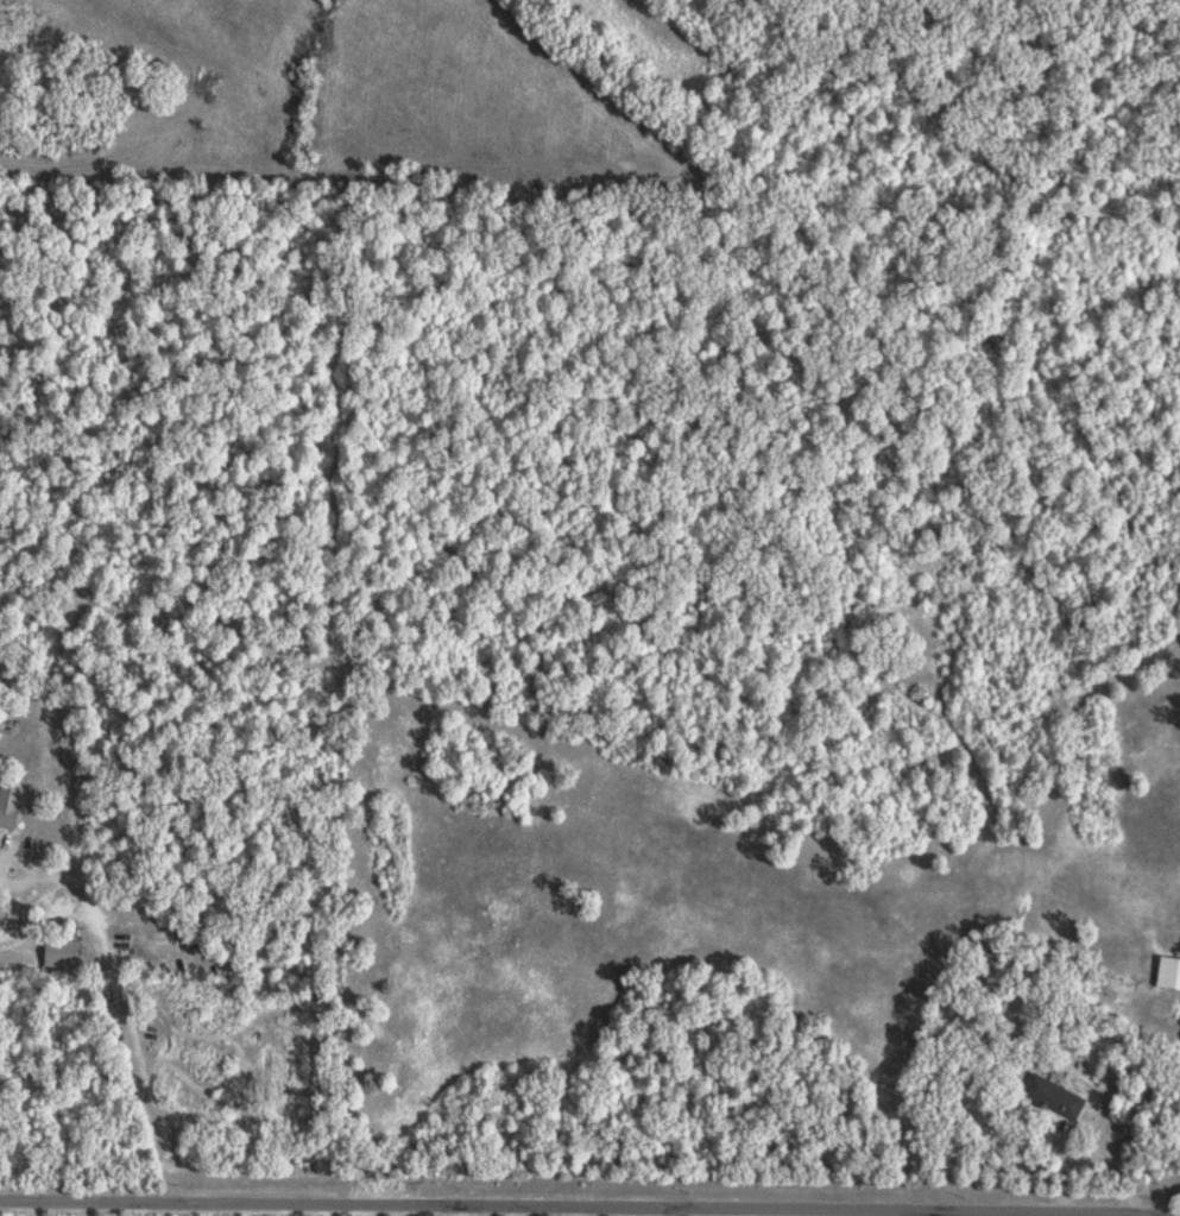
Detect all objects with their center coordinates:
building: (13, 802)
building: (67, 952)
building: (1172, 971)
road: (72, 1077)
building: (1061, 1095)
road: (1148, 1189)
road: (589, 1206)

